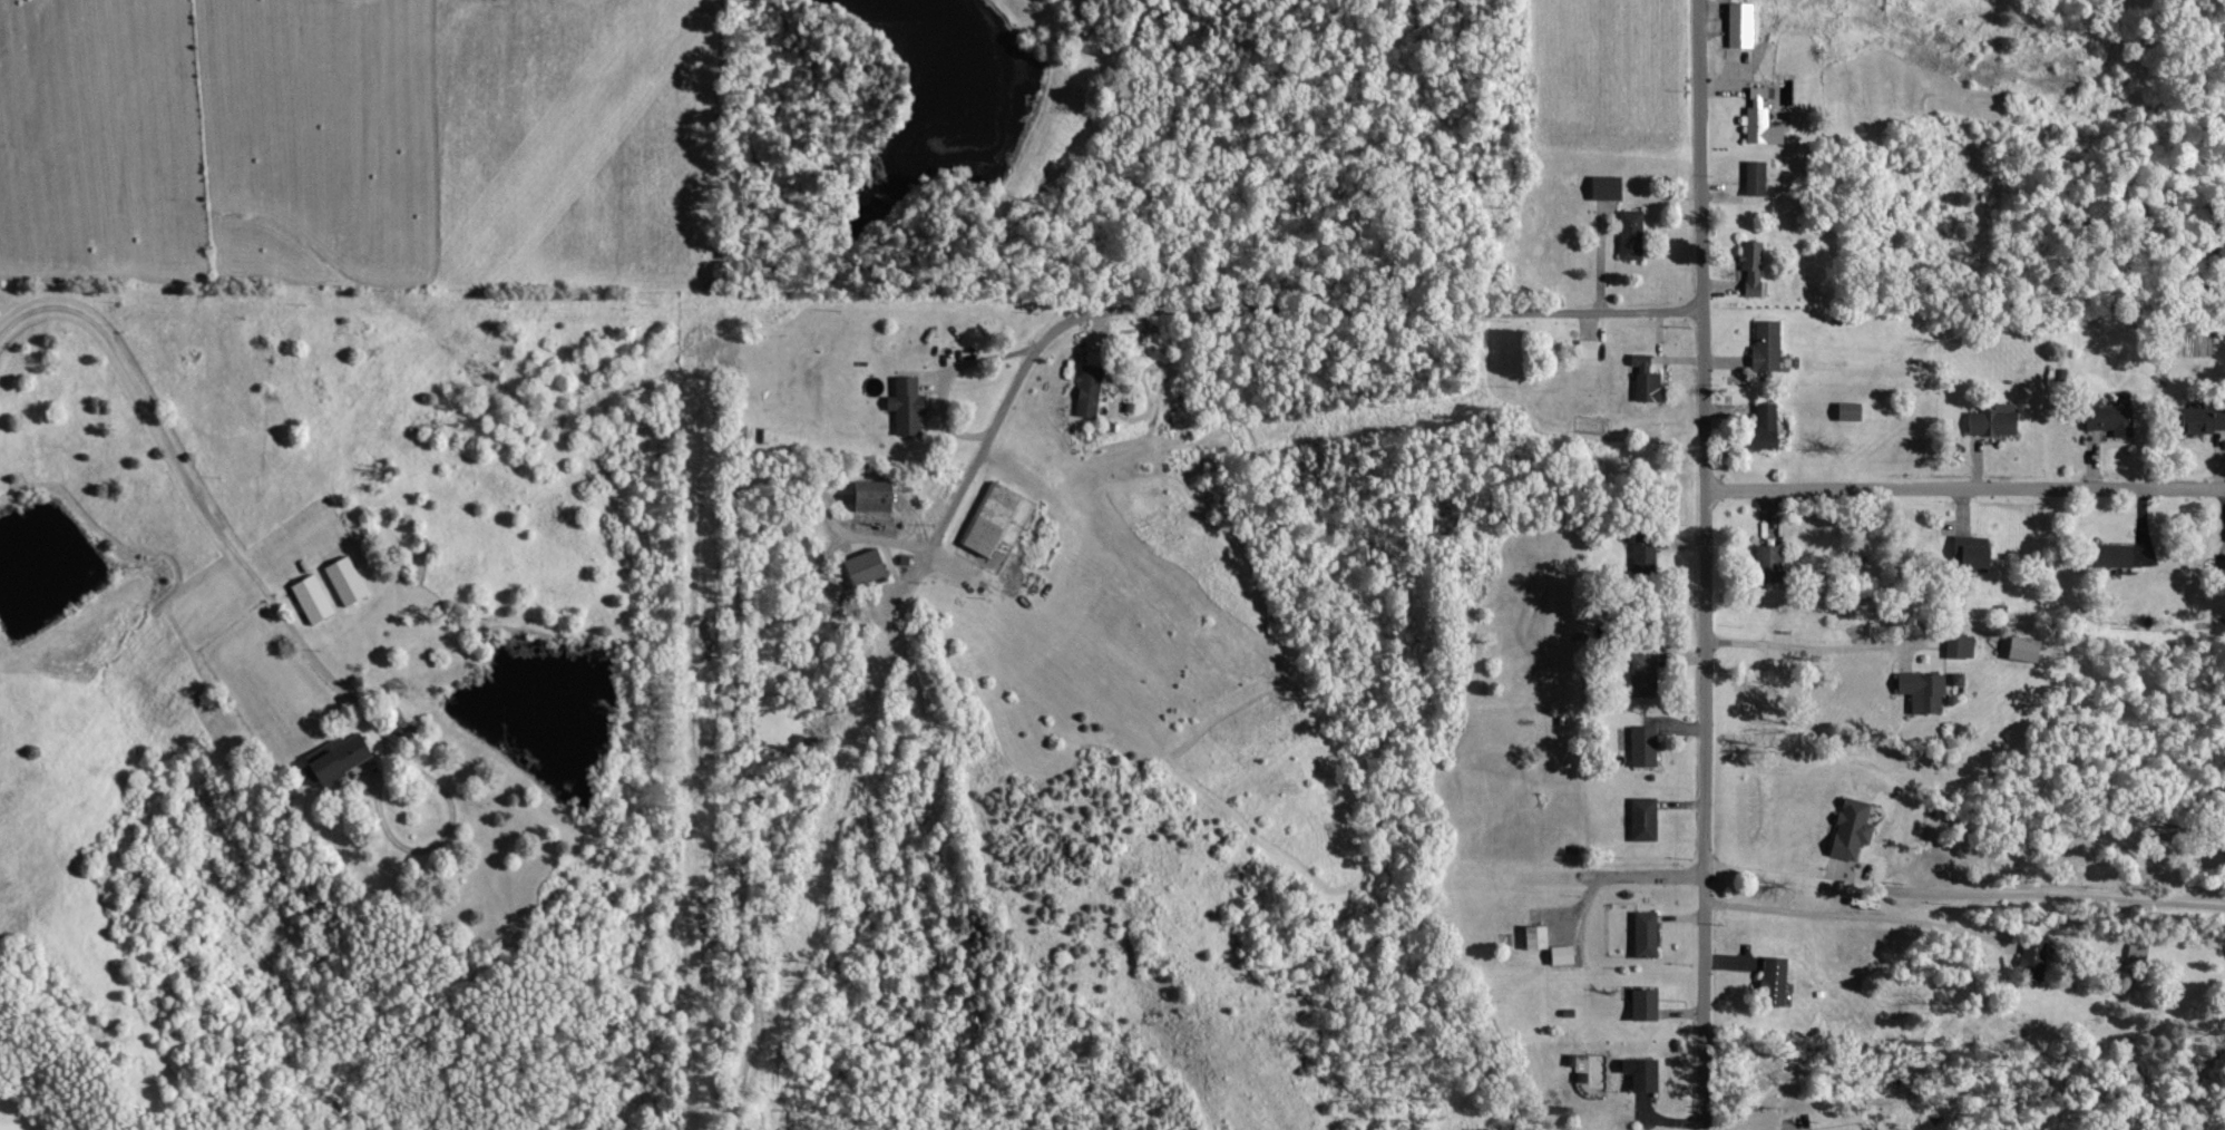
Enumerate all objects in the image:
building: (1736, 25)
building: (1756, 95)
building: (1757, 127)
building: (1751, 177)
building: (1601, 187)
building: (1628, 235)
building: (1749, 270)
building: (1762, 344)
building: (1583, 349)
road: (941, 378)
building: (1642, 379)
building: (1085, 391)
building: (902, 407)
building: (1845, 411)
building: (2105, 419)
building: (2199, 420)
building: (1990, 421)
building: (1762, 426)
road: (1964, 489)
building: (989, 520)
road: (215, 525)
road: (934, 551)
building: (1964, 553)
building: (2105, 555)
building: (1764, 563)
road: (1702, 565)
building: (2224, 565)
building: (858, 568)
building: (341, 581)
building: (310, 598)
road: (1812, 646)
building: (1955, 646)
building: (2017, 649)
building: (1638, 675)
building: (1919, 692)
building: (1640, 747)
building: (332, 759)
building: (1640, 819)
building: (1846, 828)
road: (1619, 879)
road: (1960, 892)
road: (1861, 917)
building: (1640, 935)
building: (1531, 937)
building: (1559, 955)
building: (2029, 959)
building: (1768, 982)
building: (1640, 1005)
building: (1636, 1074)

